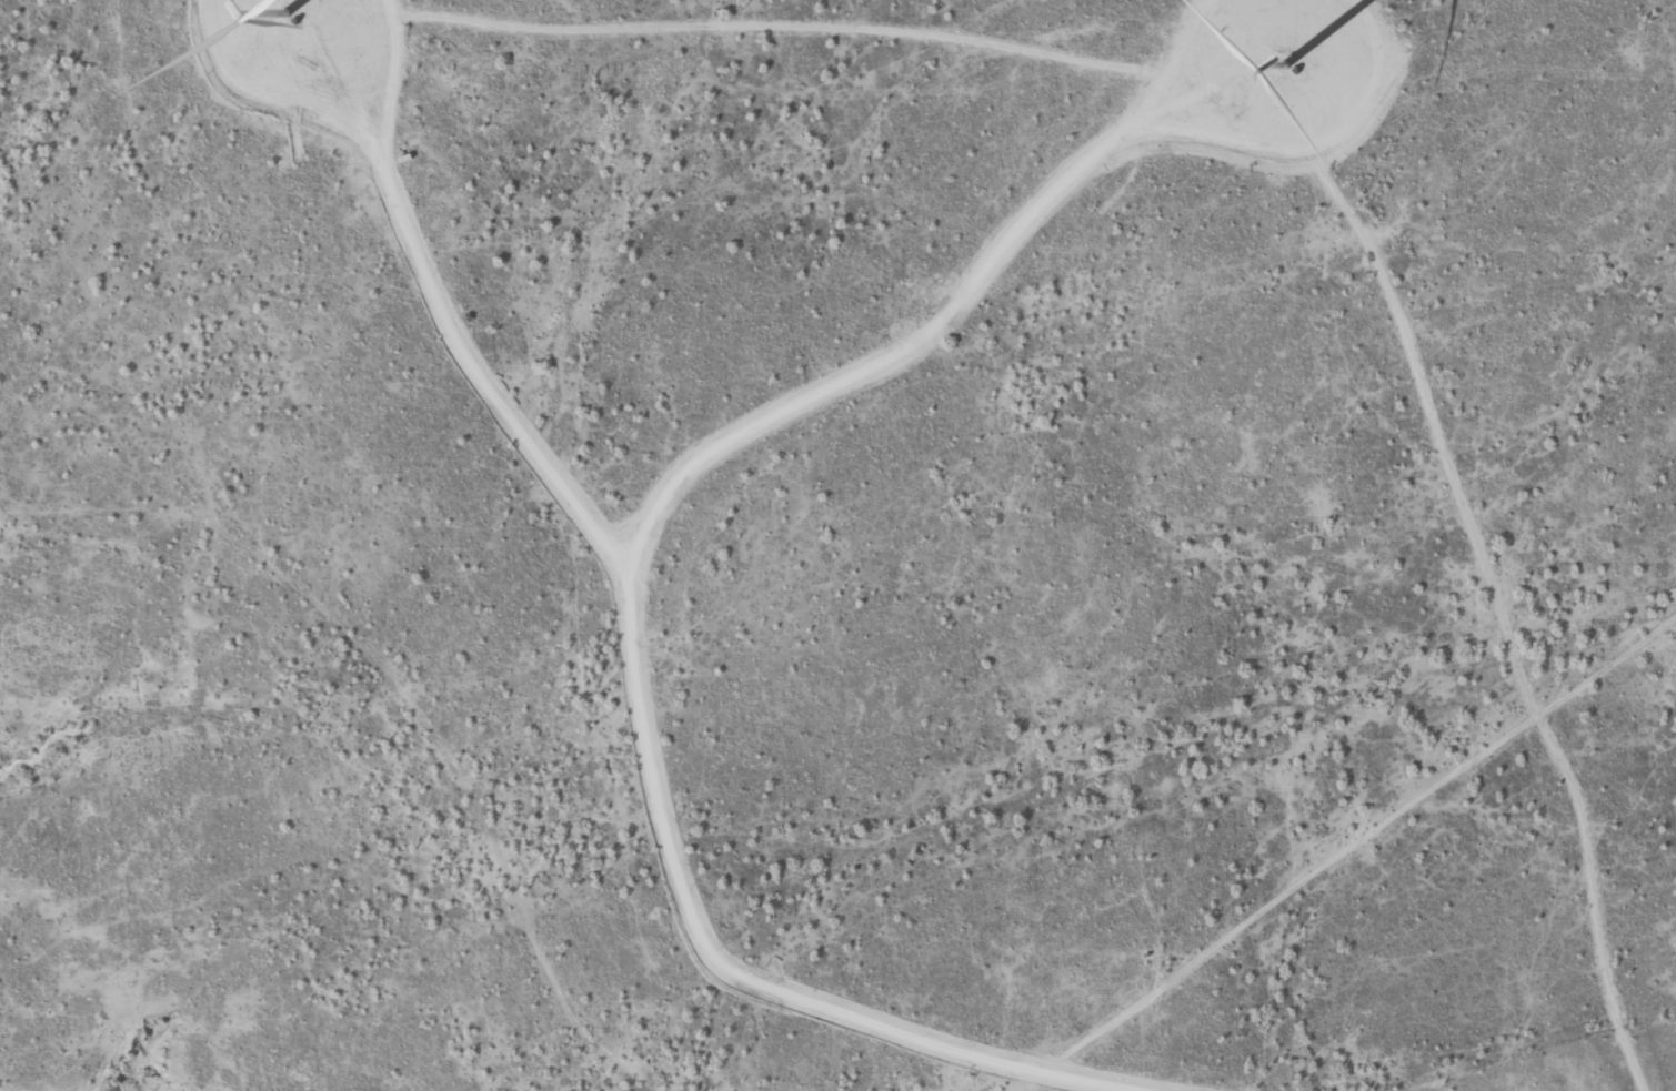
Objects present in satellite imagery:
wind turbine: (287, 17)
wind turbine: (1274, 61)

